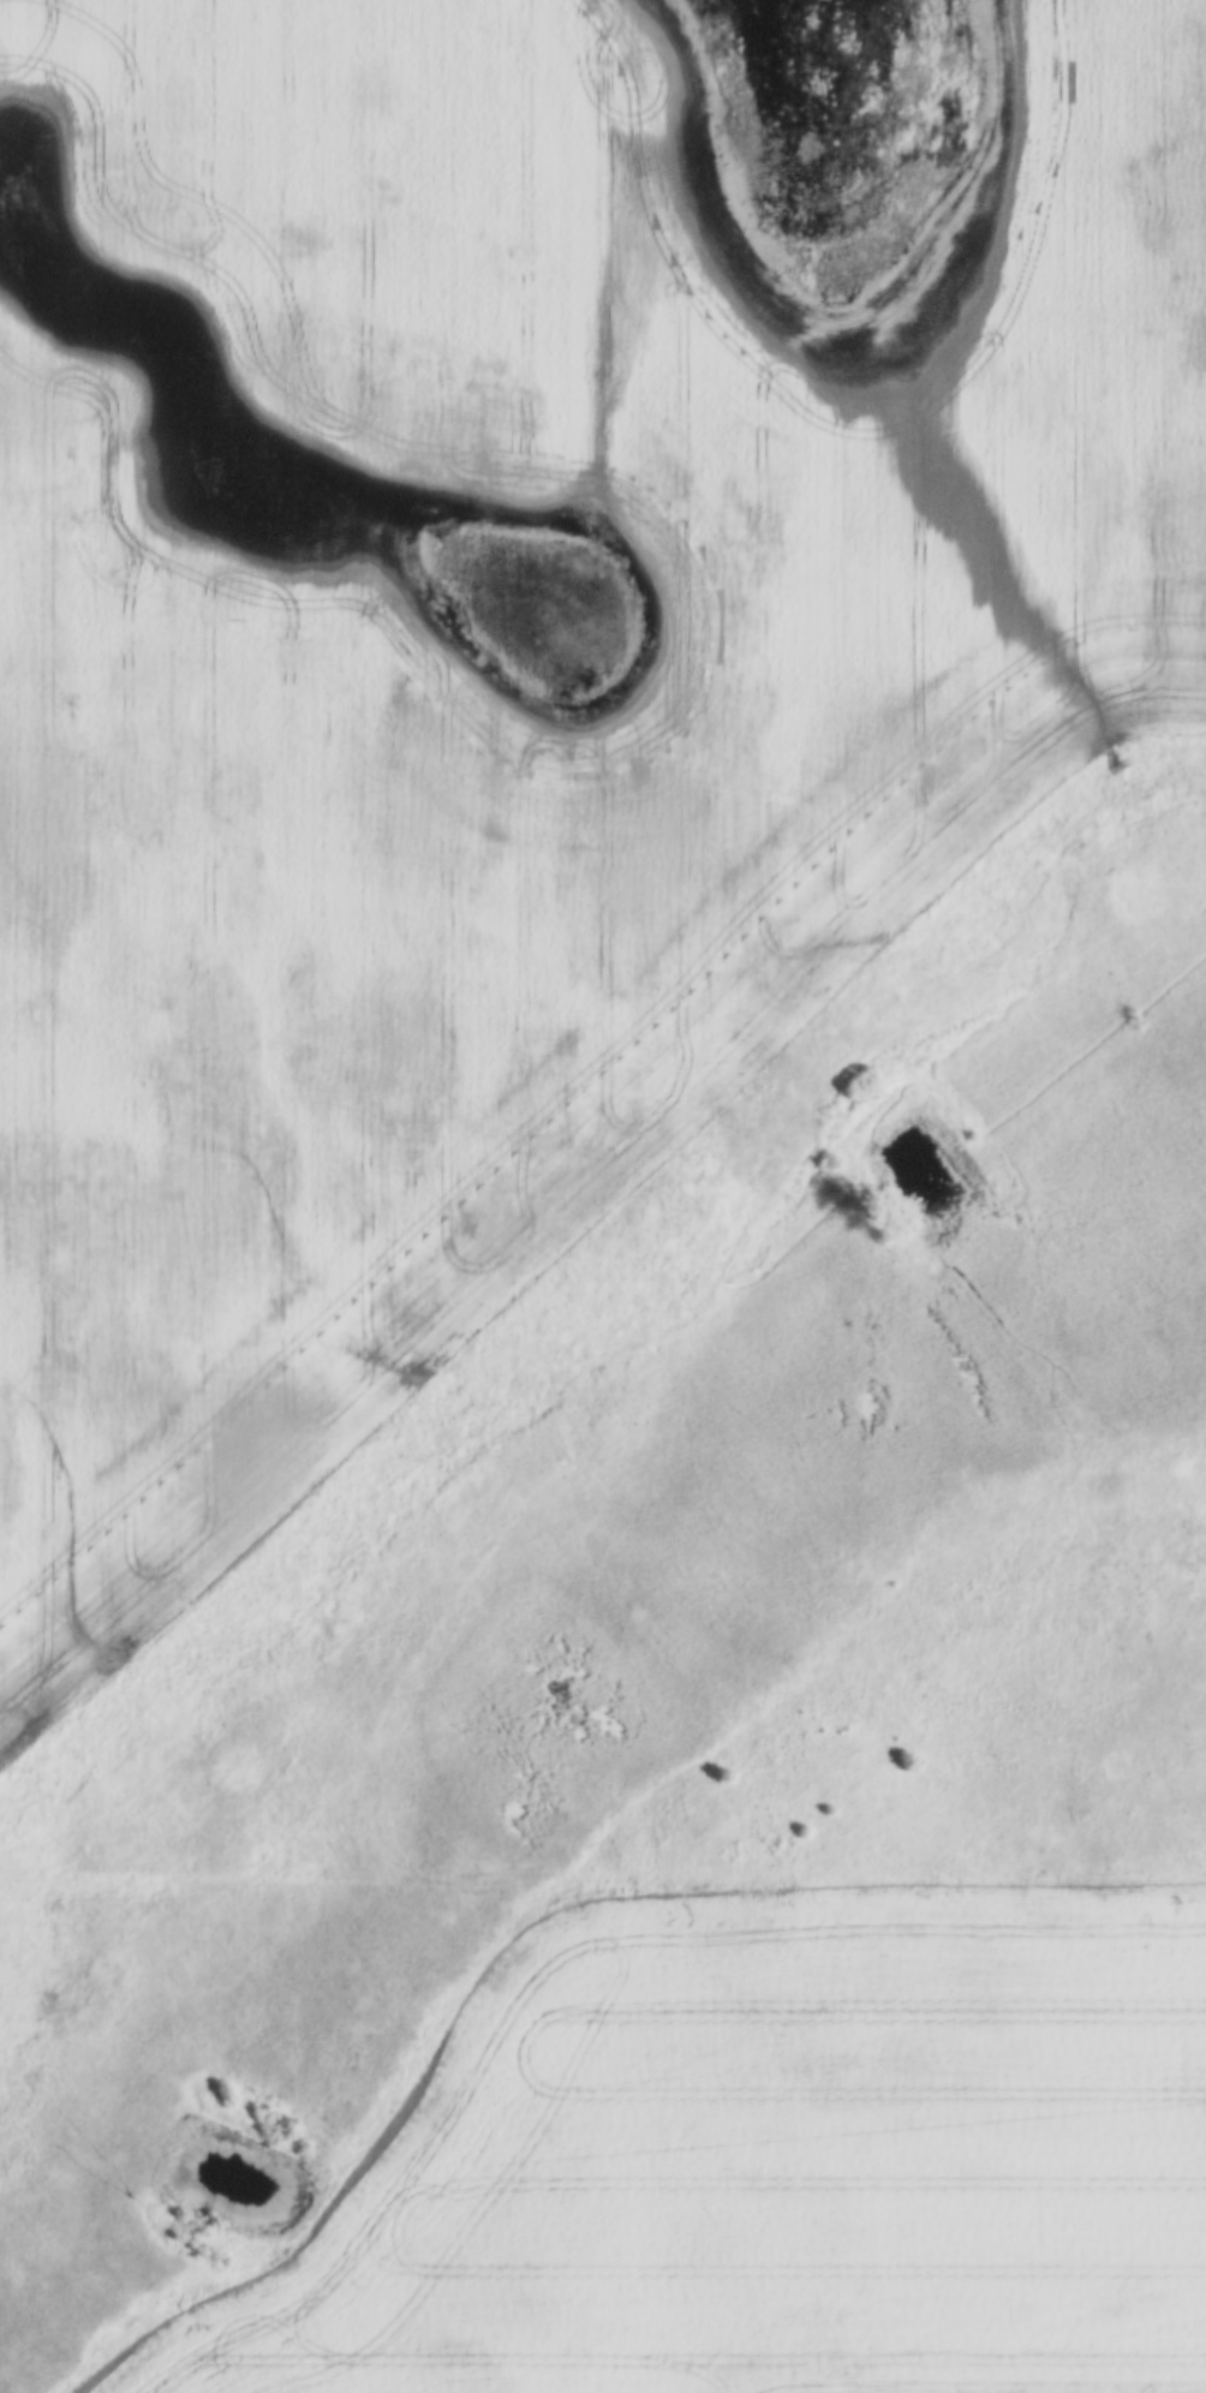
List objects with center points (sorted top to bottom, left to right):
crop: (419, 968)
crop: (760, 2164)

